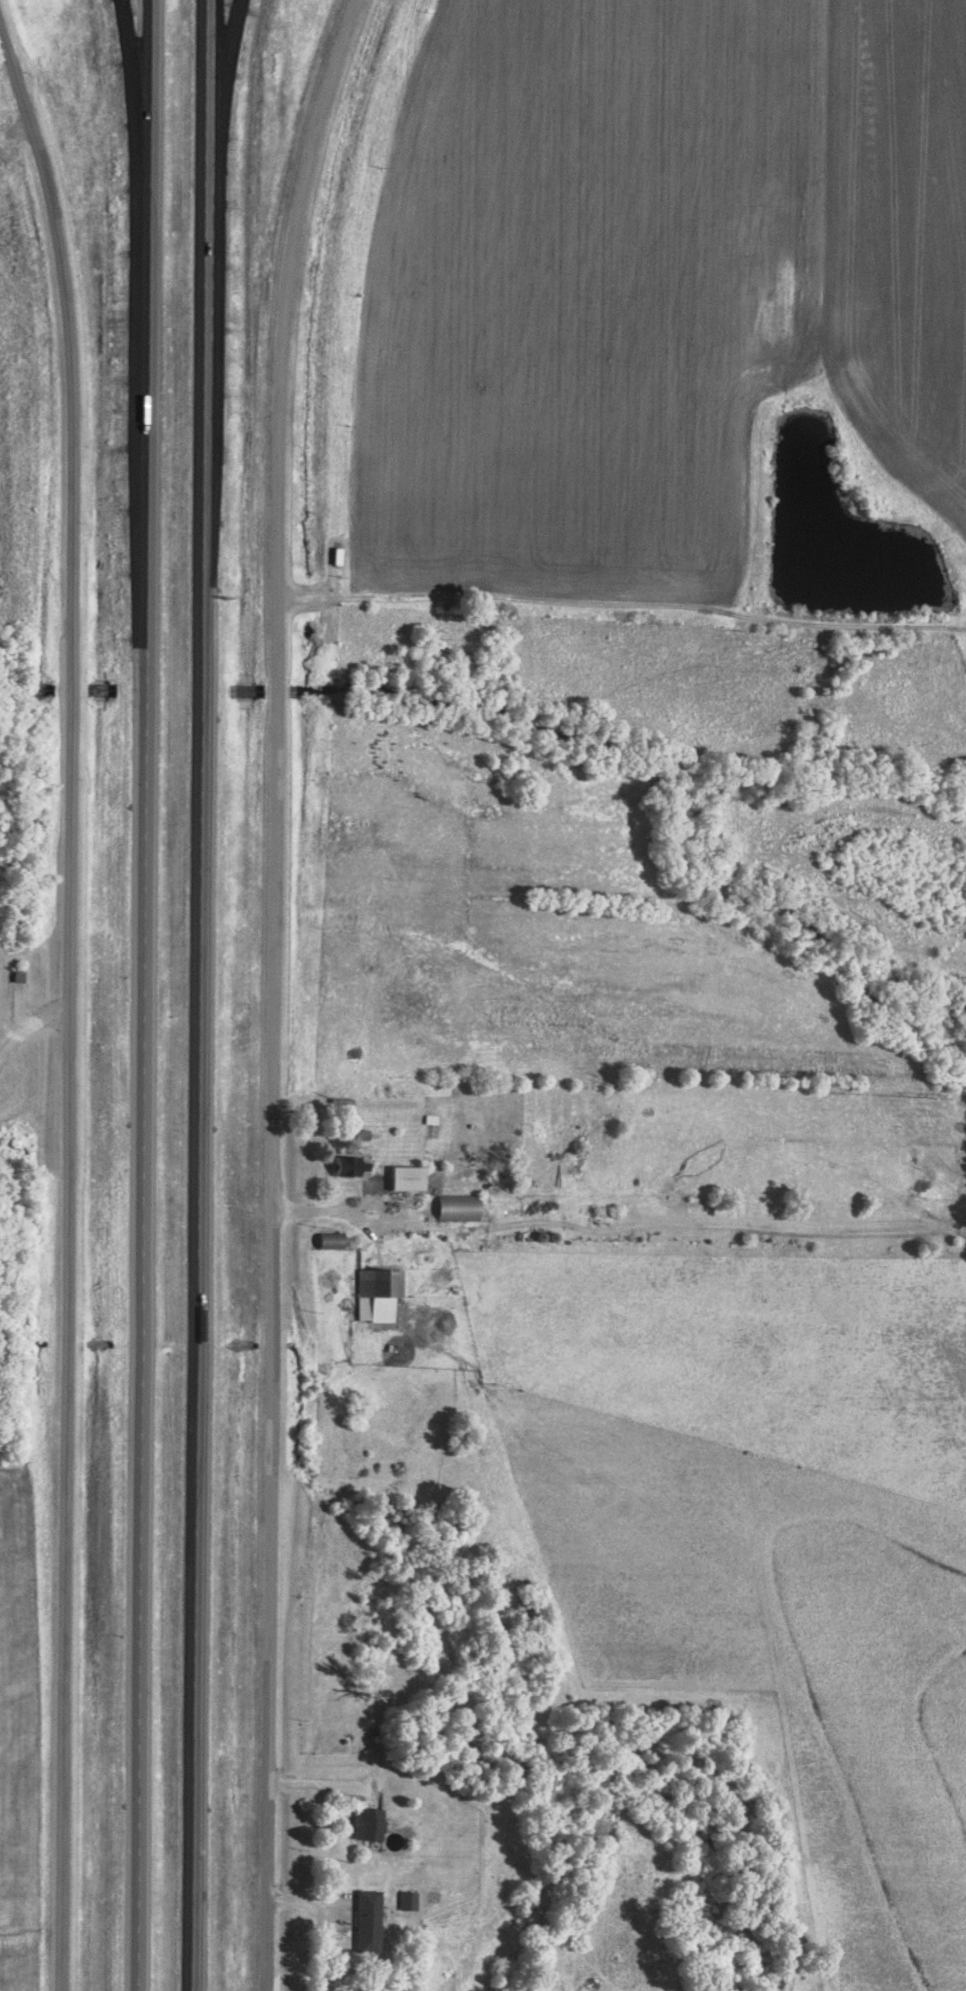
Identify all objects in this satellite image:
road: (216, 126)
road: (138, 150)
road: (622, 608)
building: (18, 971)
road: (276, 990)
road: (147, 995)
road: (199, 995)
road: (72, 1000)
road: (29, 1022)
building: (361, 1132)
building: (345, 1163)
building: (406, 1175)
building: (457, 1205)
road: (389, 1229)
building: (377, 1291)
building: (369, 1822)
building: (407, 1898)
building: (368, 1918)

